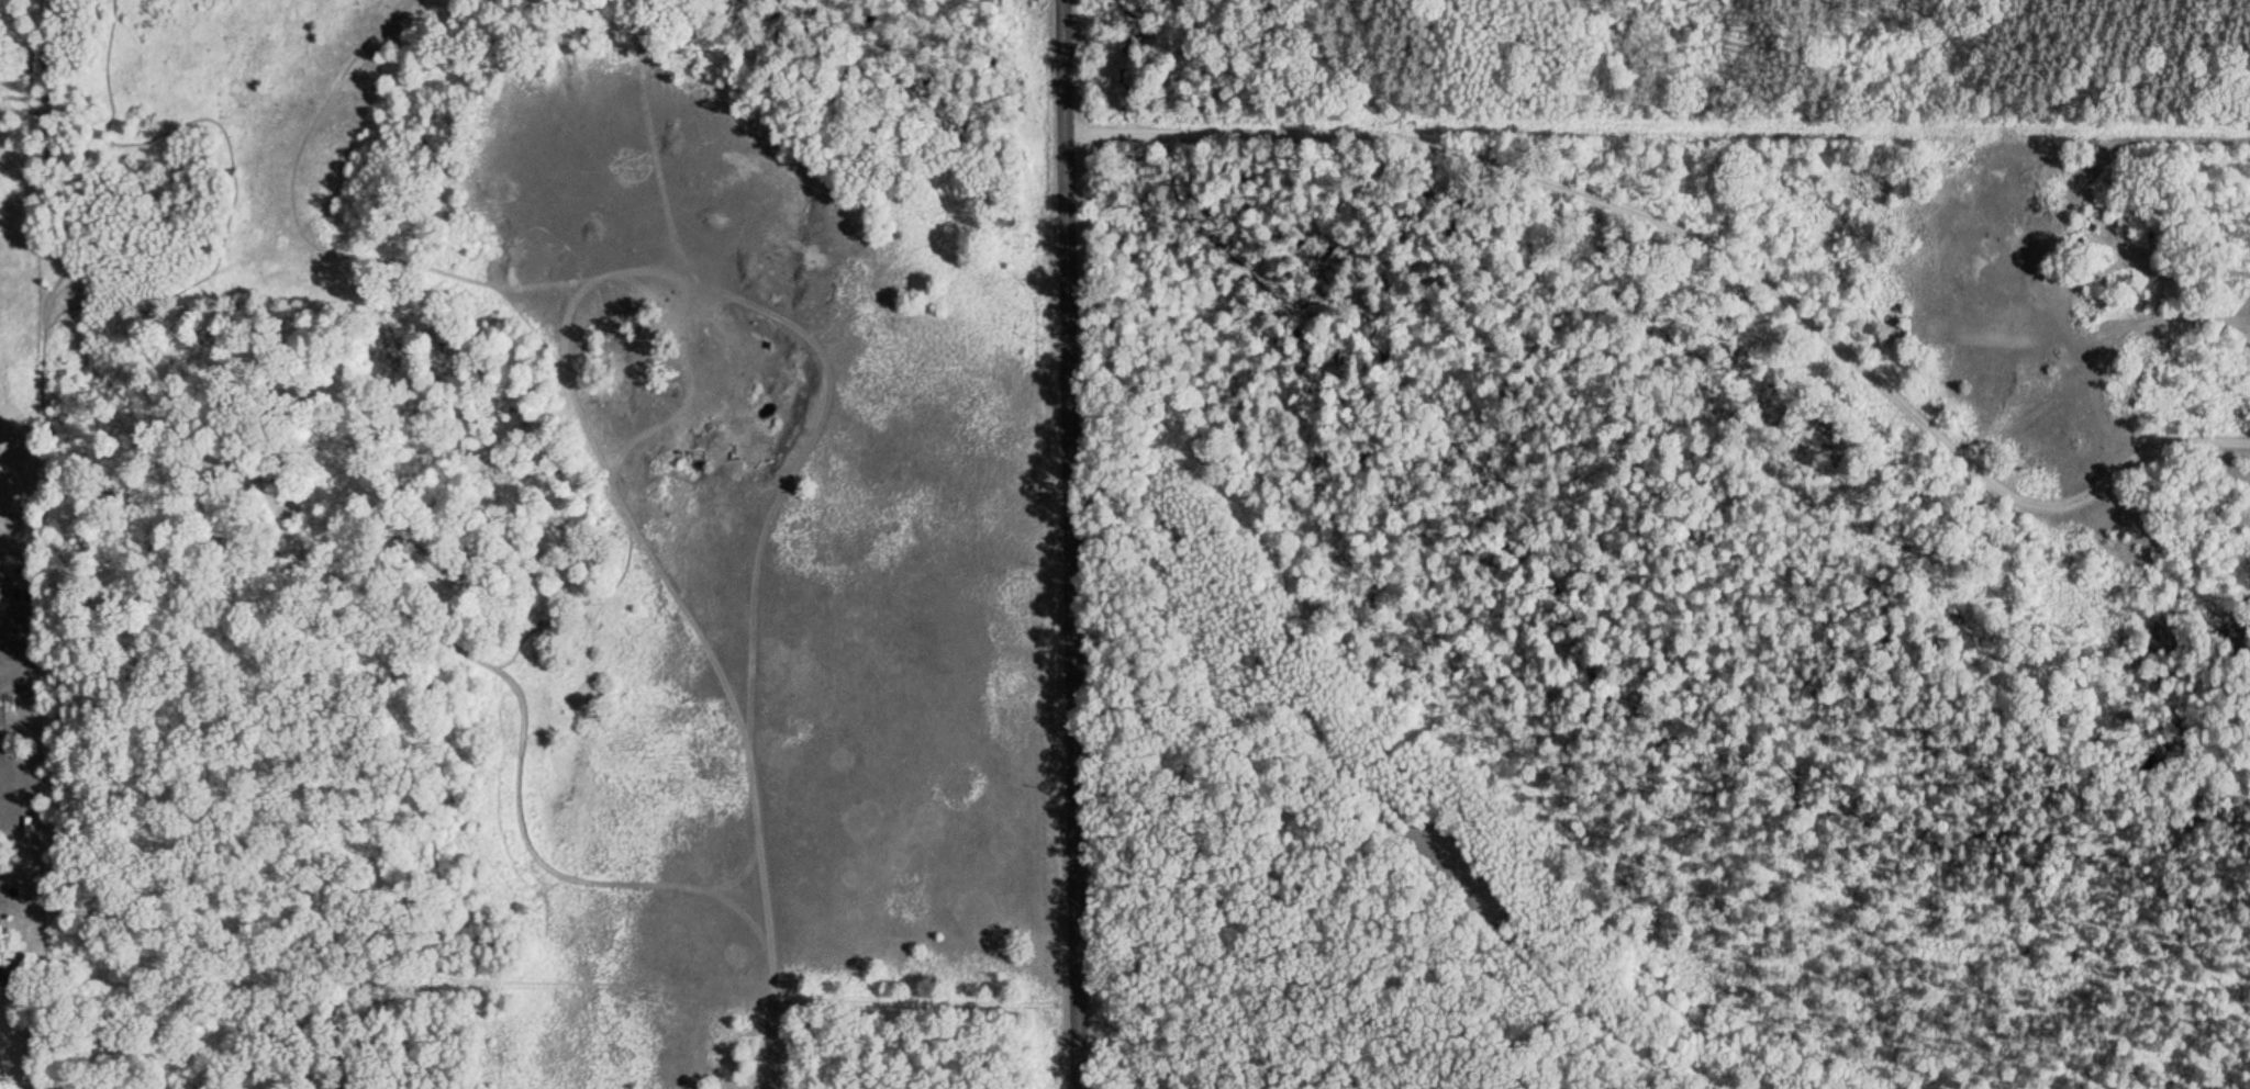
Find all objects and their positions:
building: (2124, 221)
road: (1708, 235)
road: (661, 266)
road: (1073, 543)
road: (1185, 730)
road: (764, 913)

